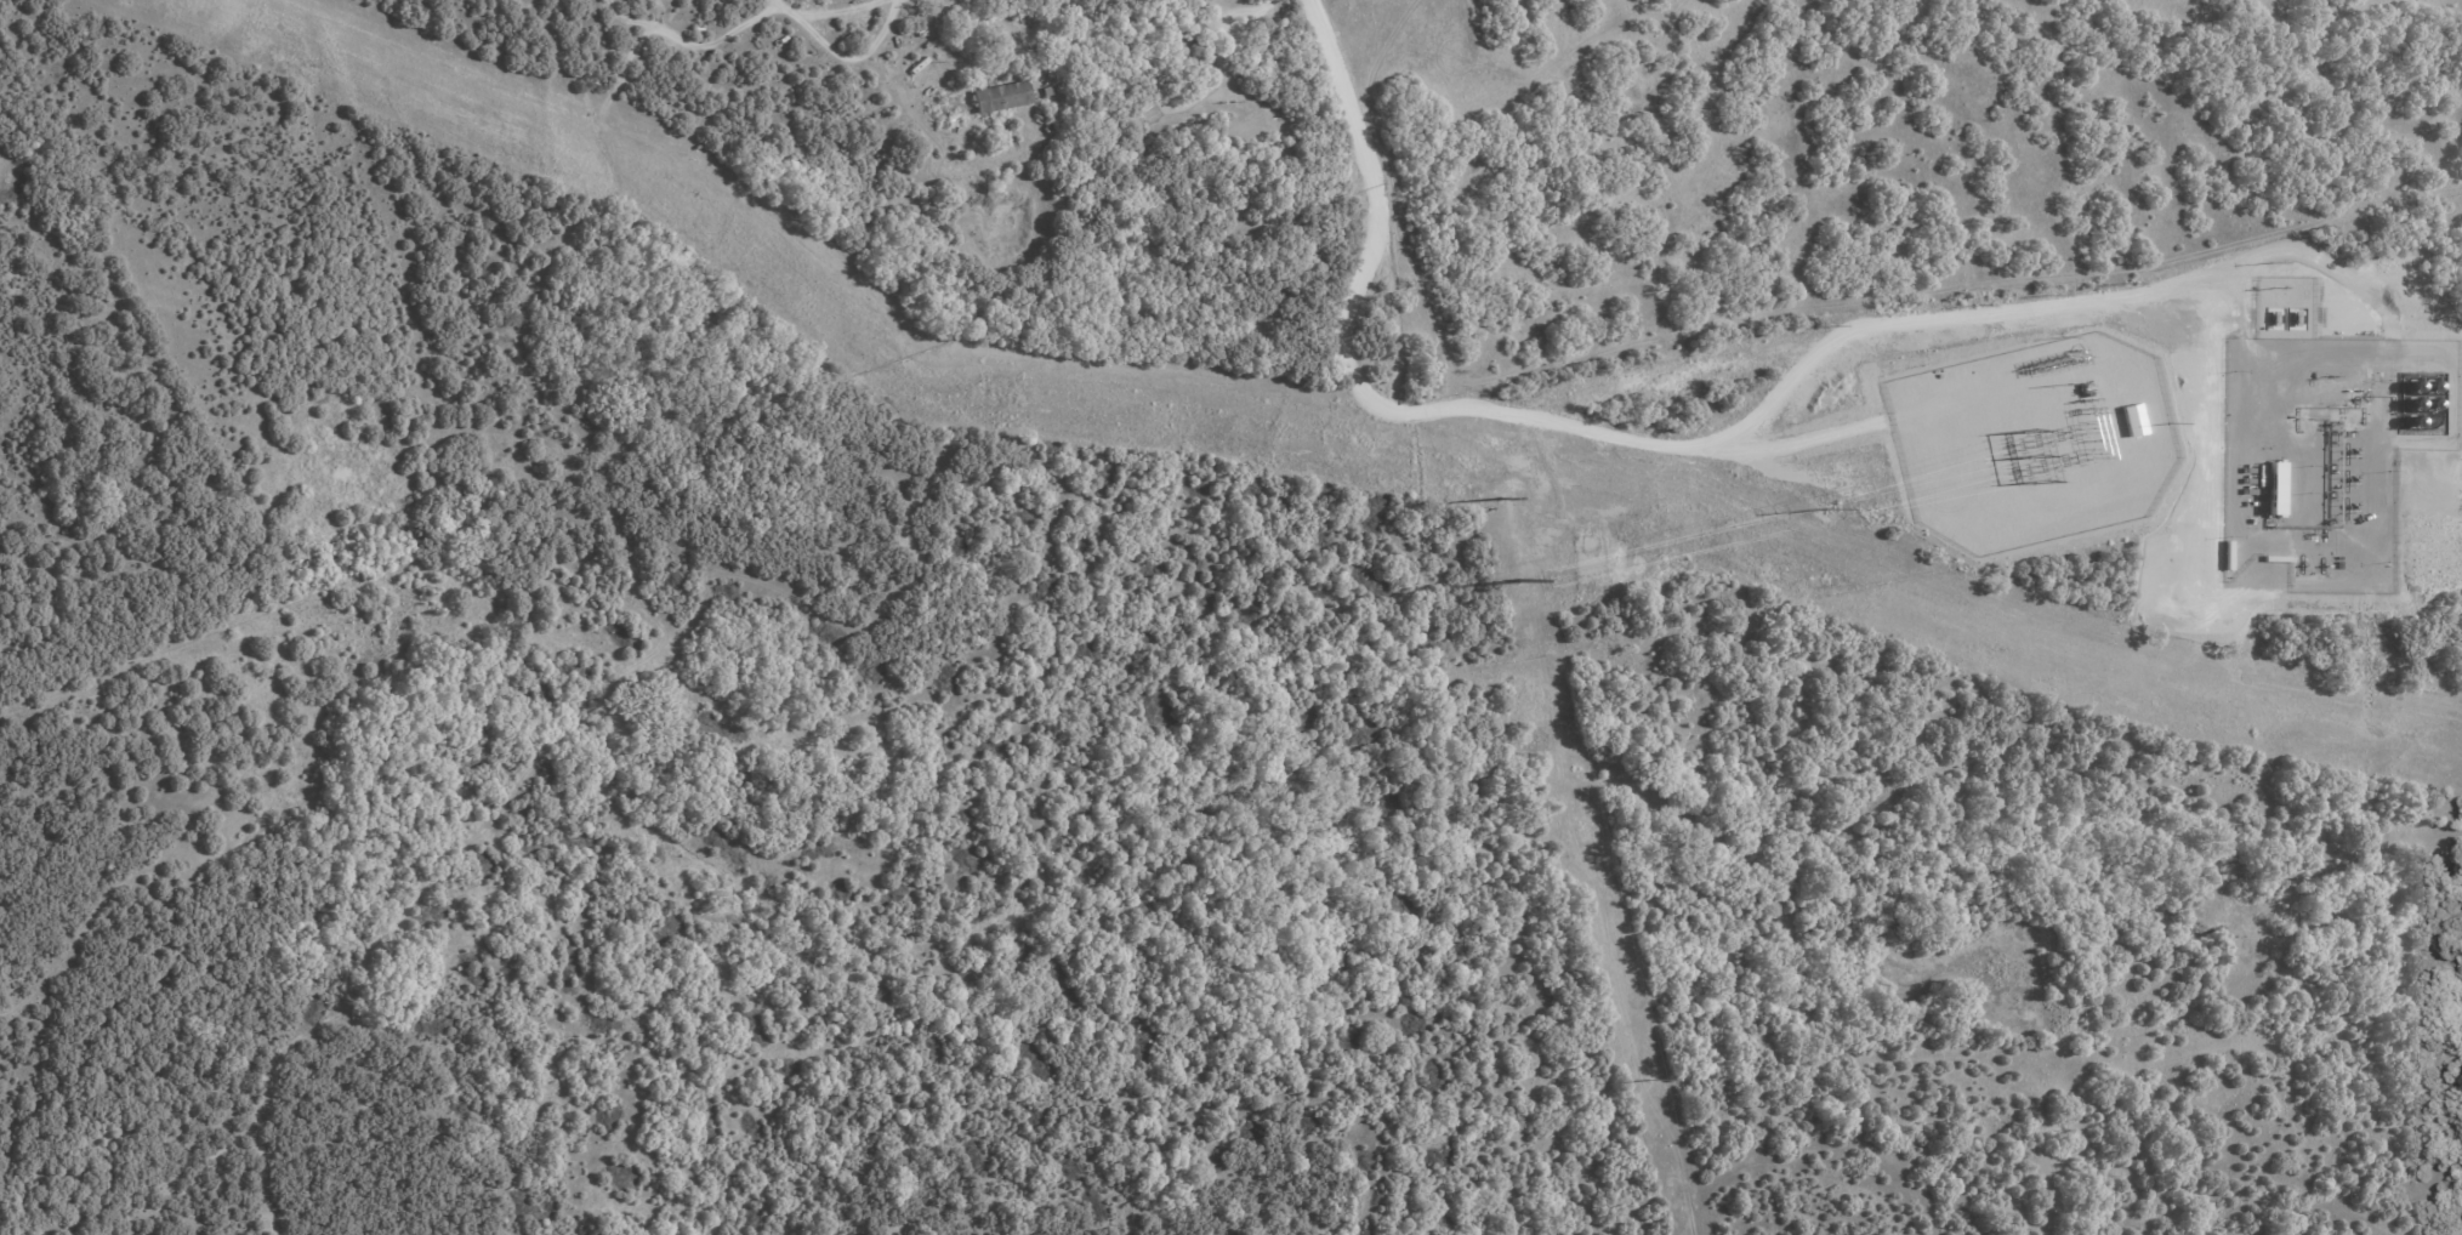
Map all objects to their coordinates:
road: (1250, 12)
building: (1046, 85)
building: (1001, 97)
road: (1368, 166)
road: (1767, 409)
road: (1796, 442)
power tower: (1499, 497)
power tower: (1650, 1079)

